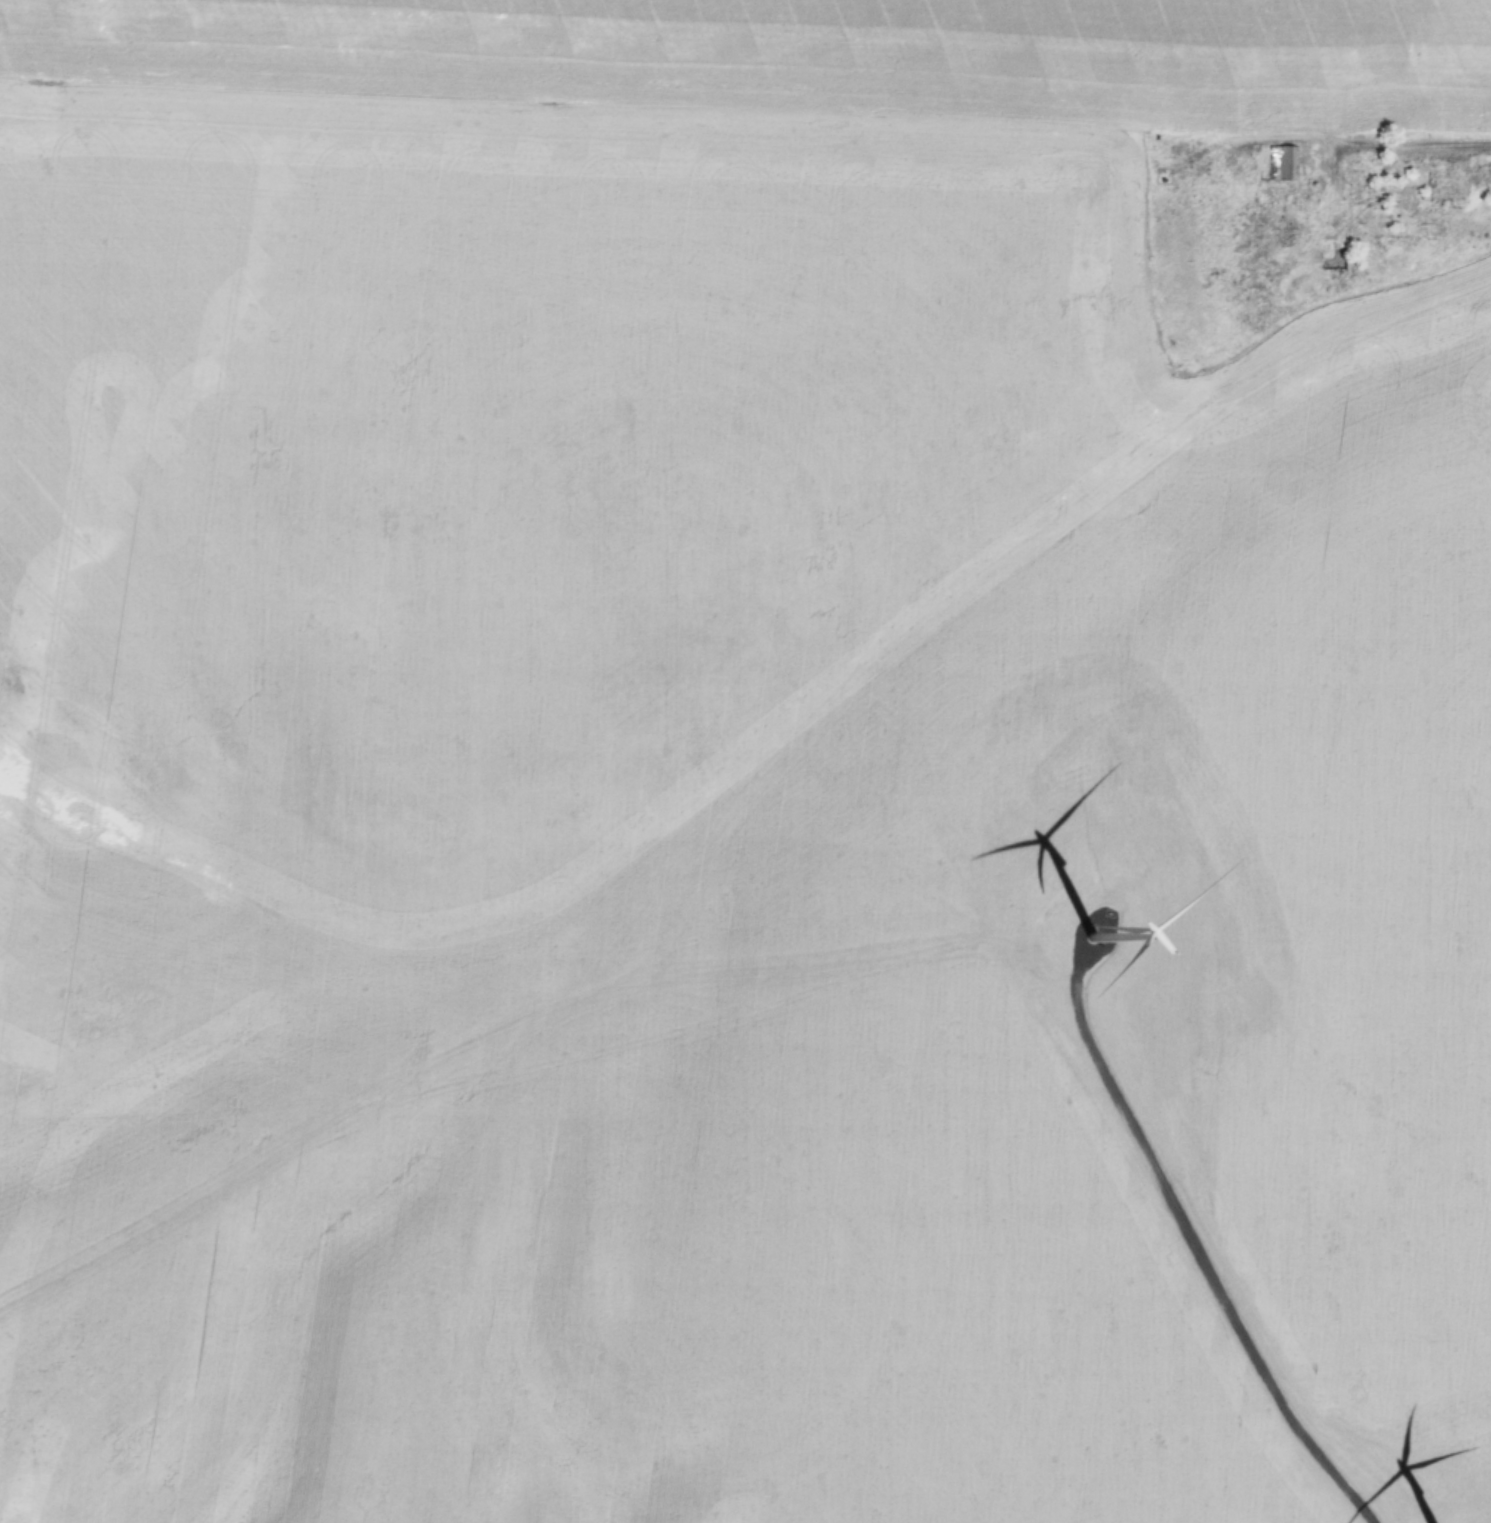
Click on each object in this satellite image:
road: (1351, 142)
building: (1281, 161)
wind turbine: (1088, 939)
road: (1191, 1248)

